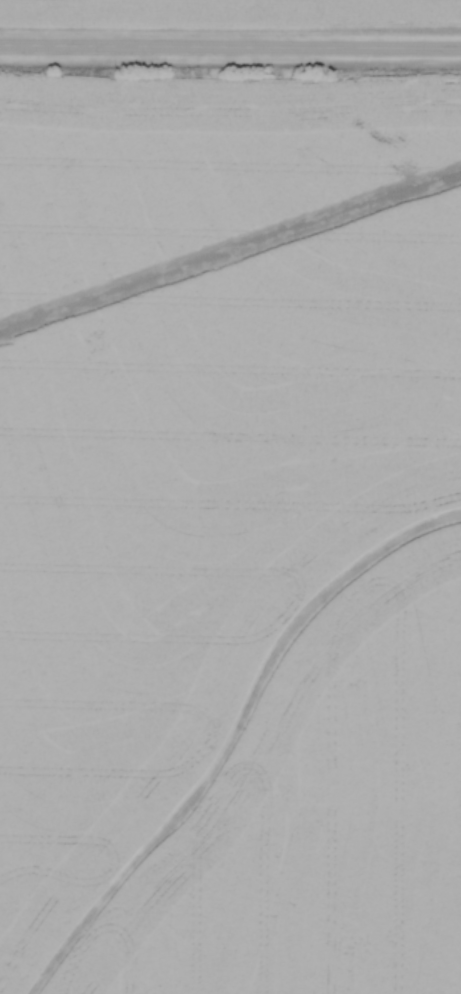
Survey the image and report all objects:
road: (230, 48)

